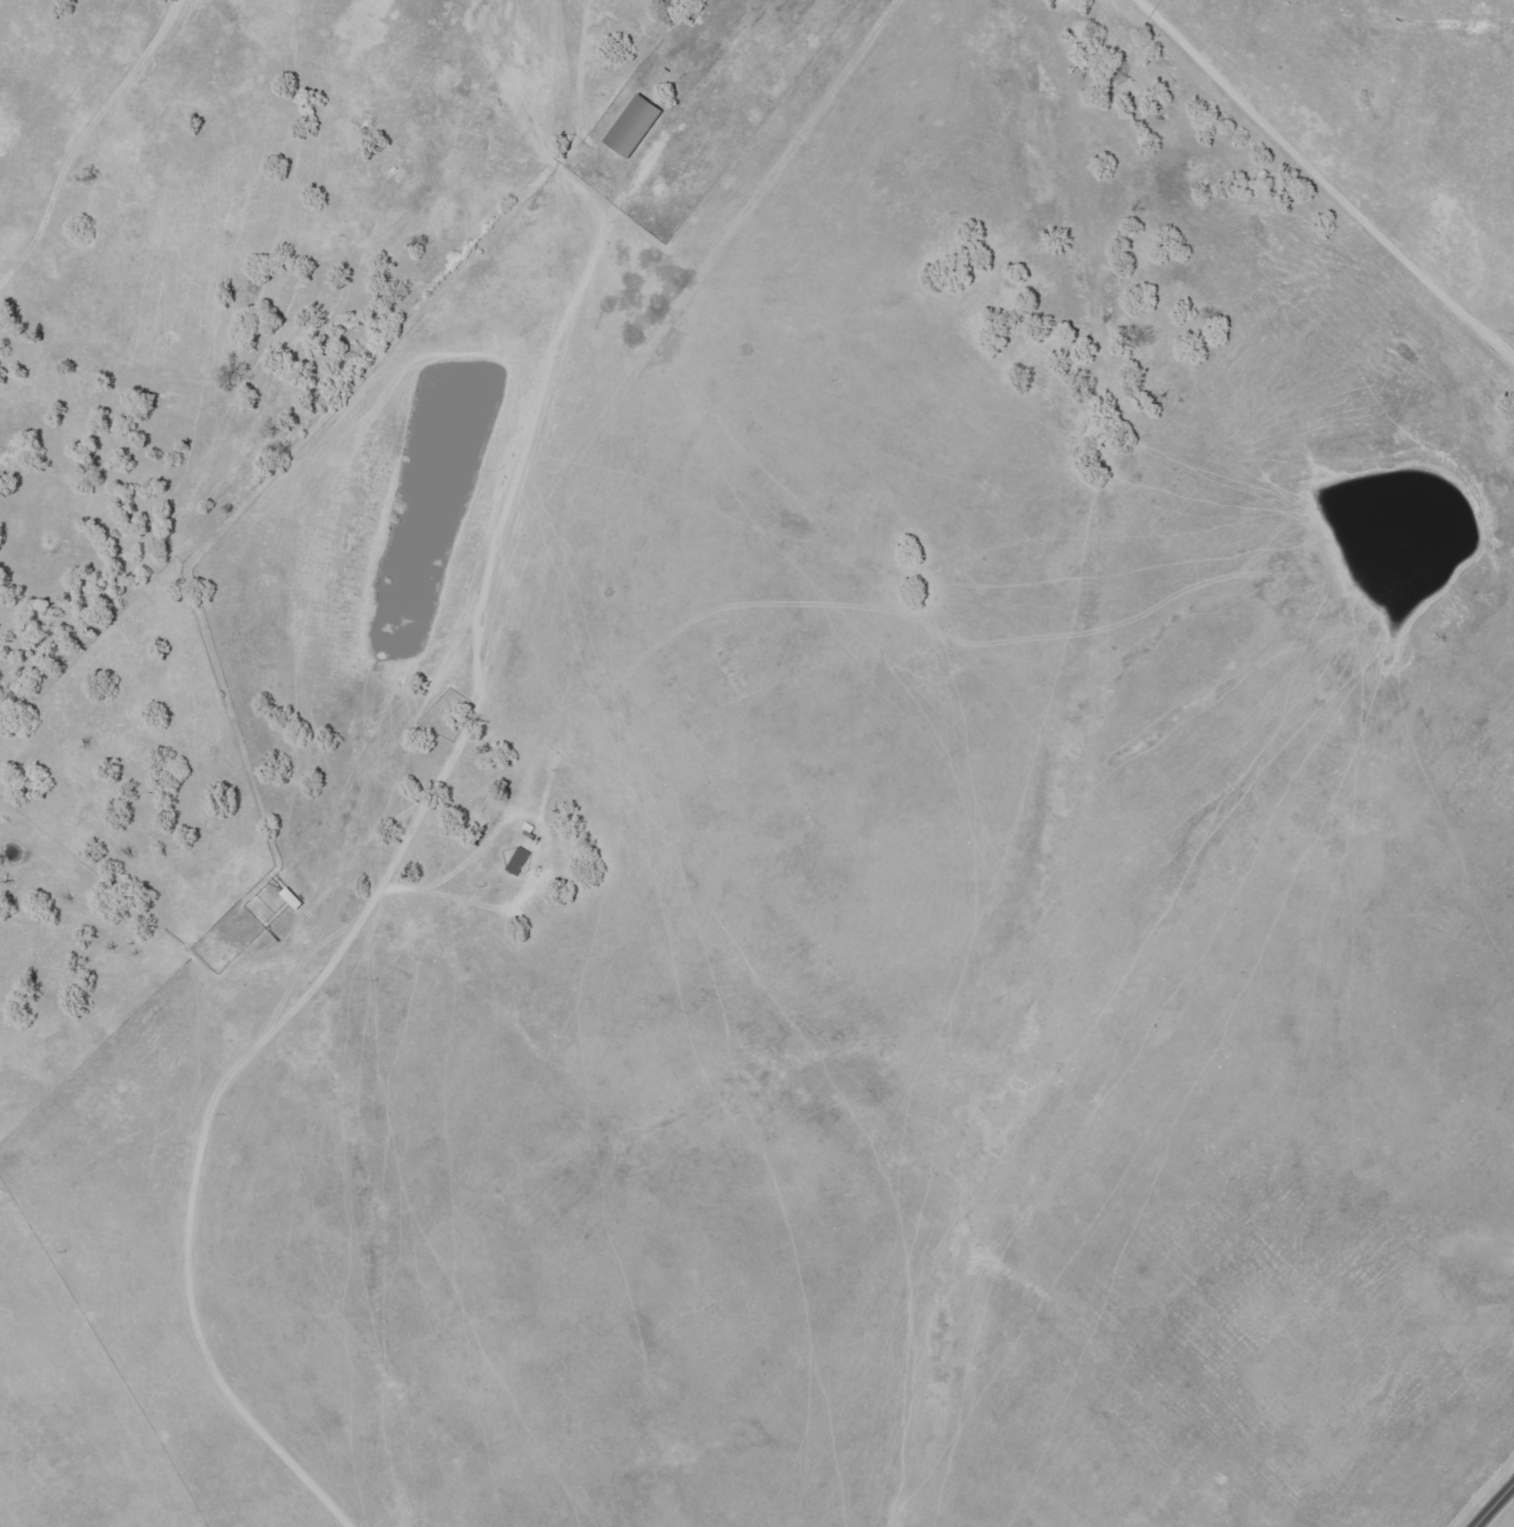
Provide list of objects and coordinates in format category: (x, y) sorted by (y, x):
building: (637, 125)
building: (521, 861)
road: (1494, 1507)

